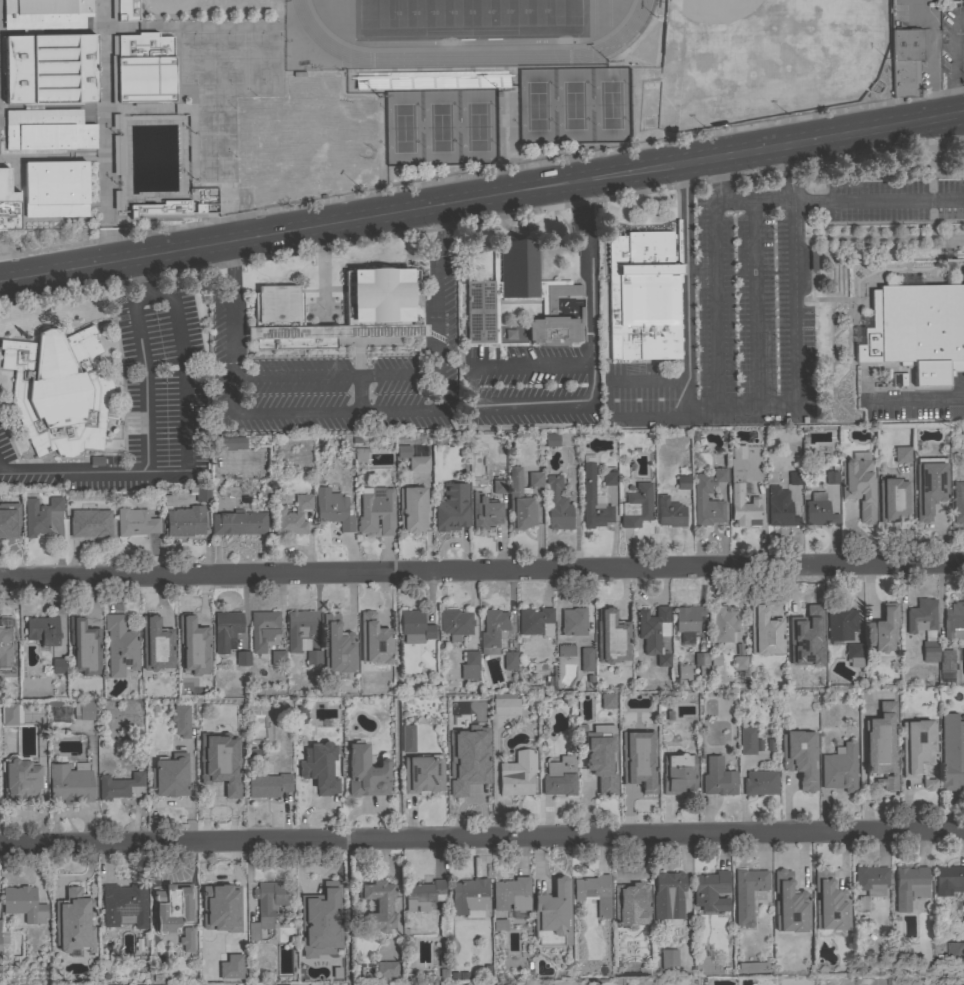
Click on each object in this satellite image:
park: (205, 6)
road: (653, 7)
building: (126, 9)
park: (607, 12)
park: (467, 13)
building: (45, 14)
park: (594, 16)
road: (192, 26)
road: (51, 31)
stadium: (466, 39)
park: (647, 44)
track: (469, 46)
park: (229, 57)
park: (263, 57)
park: (764, 57)
park: (195, 58)
building: (963, 58)
building: (905, 61)
road: (525, 66)
building: (131, 68)
building: (50, 69)
building: (431, 81)
road: (341, 92)
park: (214, 96)
road: (103, 104)
park: (610, 104)
road: (161, 105)
park: (536, 105)
park: (572, 105)
park: (214, 120)
building: (115, 121)
park: (476, 126)
park: (439, 127)
park: (402, 128)
building: (48, 130)
park: (215, 144)
road: (565, 151)
building: (117, 154)
road: (51, 157)
park: (215, 168)
road: (481, 173)
road: (413, 178)
building: (55, 189)
road: (151, 195)
road: (481, 196)
road: (104, 197)
building: (117, 200)
road: (878, 200)
road: (752, 201)
building: (7, 203)
building: (160, 208)
road: (21, 219)
road: (436, 229)
road: (226, 262)
road: (587, 271)
building: (523, 290)
building: (644, 296)
road: (754, 303)
building: (378, 307)
building: (917, 330)
road: (681, 379)
road: (145, 382)
building: (58, 390)
road: (687, 398)
road: (916, 402)
road: (759, 405)
road: (471, 409)
road: (343, 414)
building: (552, 440)
building: (227, 443)
road: (184, 449)
building: (359, 455)
building: (901, 455)
building: (413, 459)
building: (831, 477)
building: (609, 478)
building: (794, 478)
building: (535, 479)
building: (683, 482)
building: (859, 484)
building: (930, 485)
building: (499, 487)
building: (741, 491)
building: (200, 493)
building: (700, 497)
building: (892, 500)
building: (594, 501)
building: (14, 502)
building: (519, 502)
building: (958, 502)
building: (557, 505)
building: (636, 506)
building: (333, 508)
building: (452, 508)
building: (780, 508)
building: (412, 509)
building: (377, 510)
building: (818, 510)
building: (485, 512)
building: (670, 512)
building: (39, 515)
building: (292, 516)
building: (136, 522)
building: (186, 522)
building: (239, 523)
building: (91, 526)
building: (5, 528)
road: (482, 571)
building: (536, 621)
building: (805, 621)
building: (954, 621)
building: (573, 622)
building: (688, 622)
building: (455, 623)
building: (841, 623)
building: (723, 626)
building: (415, 627)
building: (924, 627)
building: (190, 629)
building: (263, 629)
building: (883, 629)
building: (43, 630)
building: (299, 630)
building: (492, 630)
building: (226, 631)
building: (765, 632)
building: (654, 633)
building: (5, 634)
building: (611, 637)
building: (374, 640)
building: (156, 645)
building: (120, 646)
building: (337, 646)
building: (84, 647)
building: (565, 651)
building: (854, 655)
building: (313, 657)
building: (242, 658)
building: (278, 658)
building: (586, 659)
building: (701, 659)
building: (510, 661)
building: (946, 661)
building: (740, 663)
building: (470, 665)
building: (58, 666)
building: (6, 670)
building: (206, 671)
building: (684, 672)
building: (796, 675)
building: (638, 697)
building: (608, 701)
building: (505, 704)
building: (83, 711)
building: (11, 714)
building: (181, 720)
building: (406, 738)
building: (747, 741)
building: (918, 745)
building: (882, 746)
building: (952, 752)
building: (601, 757)
building: (800, 757)
building: (319, 768)
building: (840, 768)
building: (366, 772)
building: (638, 772)
building: (678, 773)
building: (422, 774)
building: (518, 774)
building: (170, 775)
building: (471, 775)
building: (560, 776)
road: (495, 777)
building: (21, 778)
building: (216, 778)
building: (718, 778)
building: (760, 783)
building: (69, 784)
building: (929, 784)
building: (268, 785)
building: (118, 786)
road: (482, 837)
building: (949, 880)
building: (870, 884)
building: (909, 886)
building: (712, 891)
building: (594, 893)
building: (511, 894)
building: (748, 894)
building: (424, 895)
building: (668, 895)
building: (469, 897)
building: (830, 903)
building: (23, 904)
building: (790, 904)
building: (124, 905)
building: (378, 905)
building: (631, 905)
building: (266, 906)
building: (172, 907)
building: (314, 907)
building: (220, 908)
building: (553, 915)
building: (74, 922)
building: (500, 925)
building: (443, 926)
building: (3, 937)
building: (186, 940)
building: (0, 956)
building: (955, 956)
building: (669, 959)
building: (230, 967)
building: (752, 967)
building: (386, 969)
building: (281, 984)

